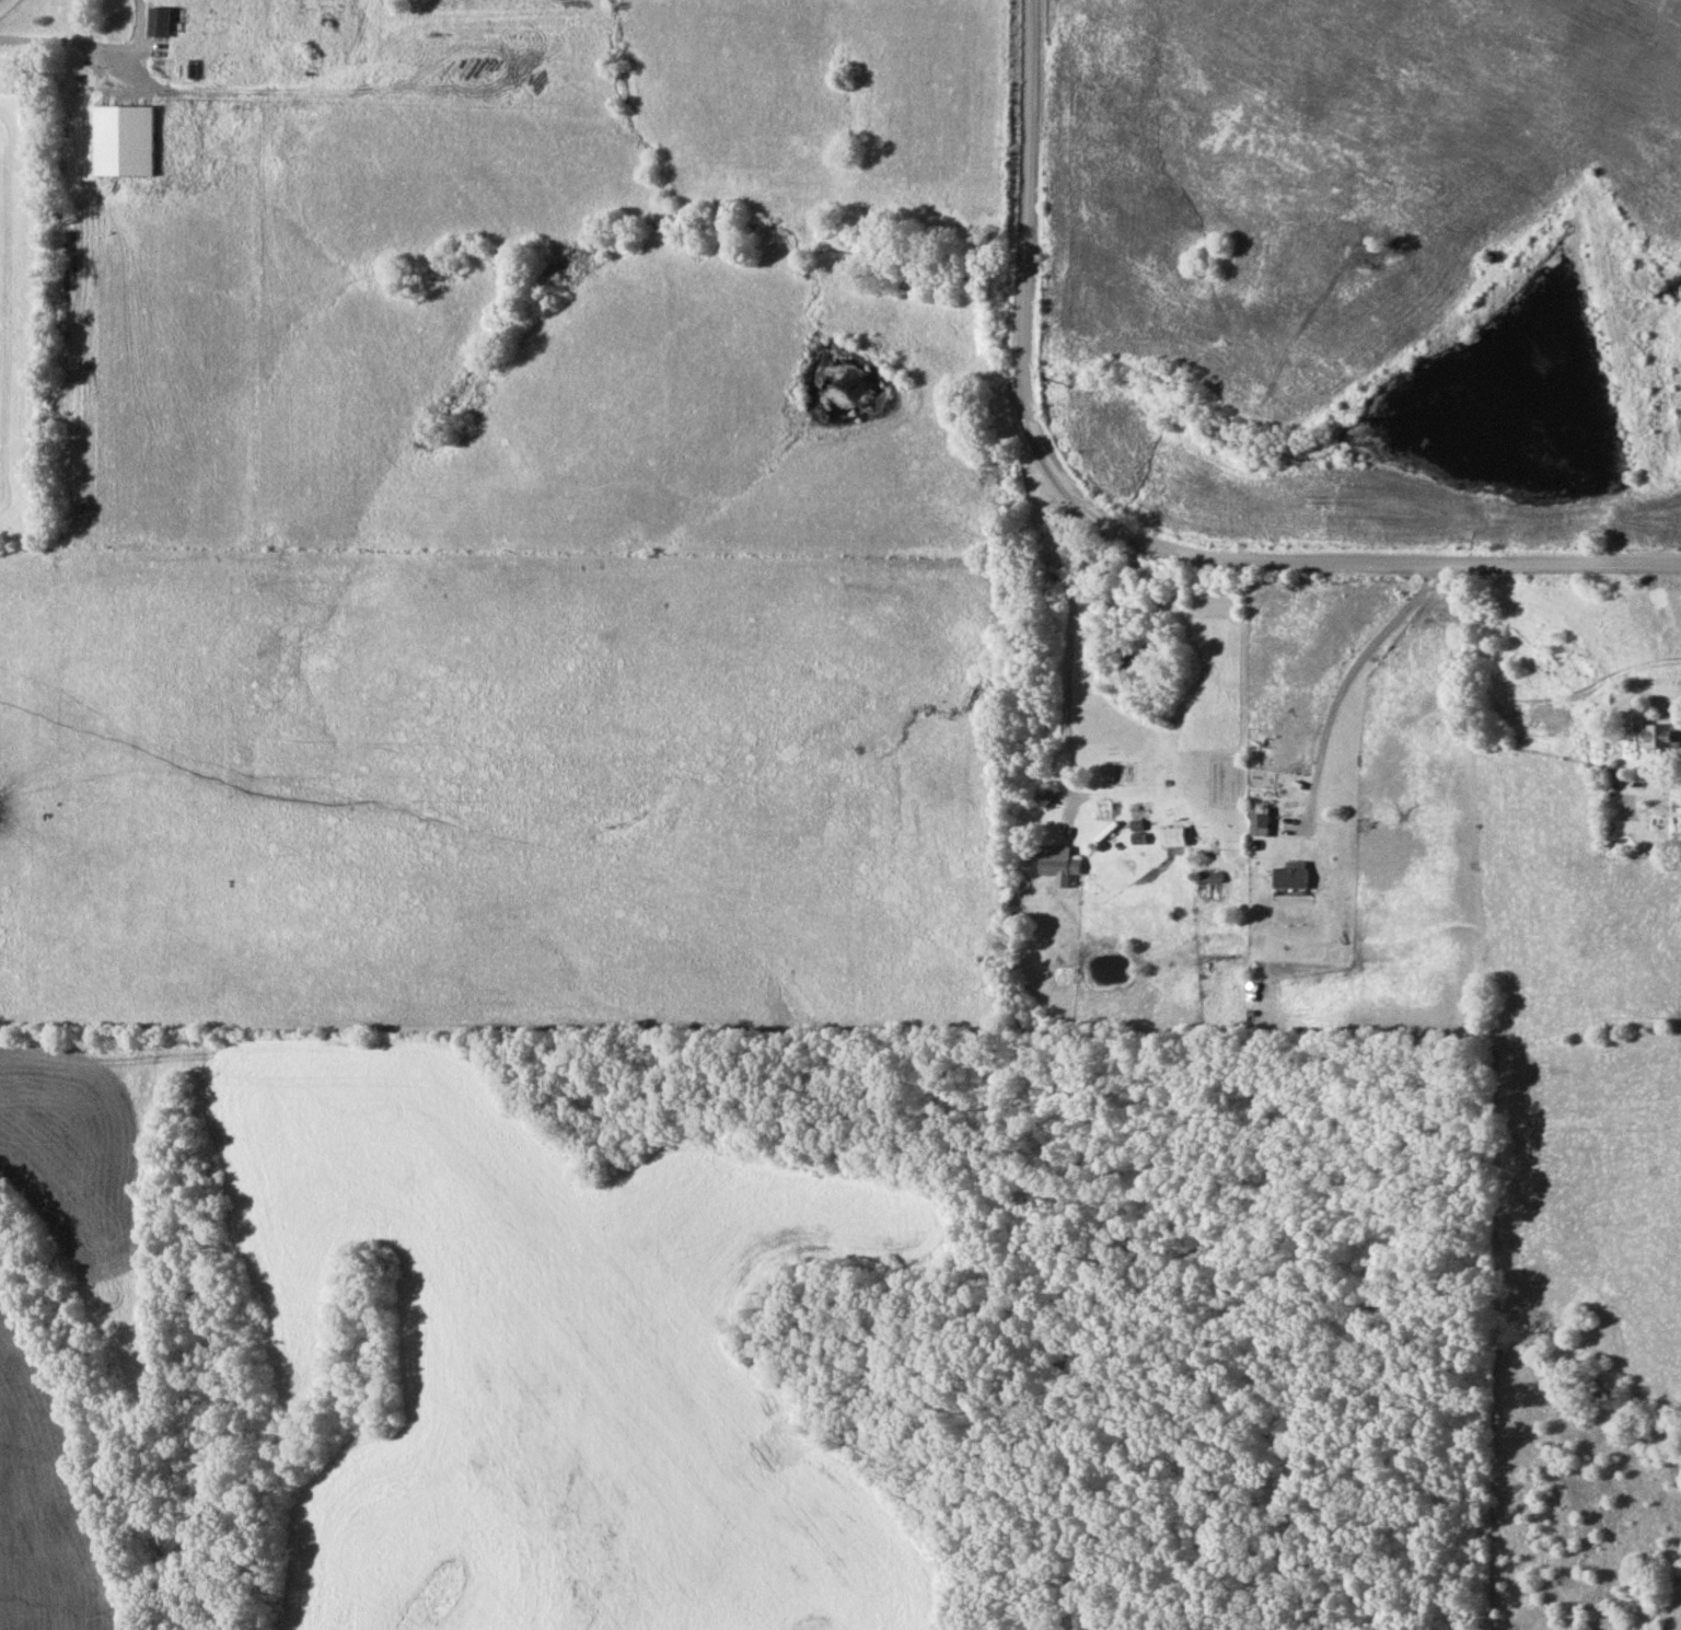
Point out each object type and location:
road: (4, 3)
building: (295, 14)
building: (164, 20)
road: (93, 44)
road: (1121, 525)
road: (1065, 650)
road: (1346, 674)
building: (1665, 735)
building: (1048, 793)
building: (1263, 821)
building: (1140, 832)
building: (1176, 836)
building: (1062, 864)
building: (1295, 877)

